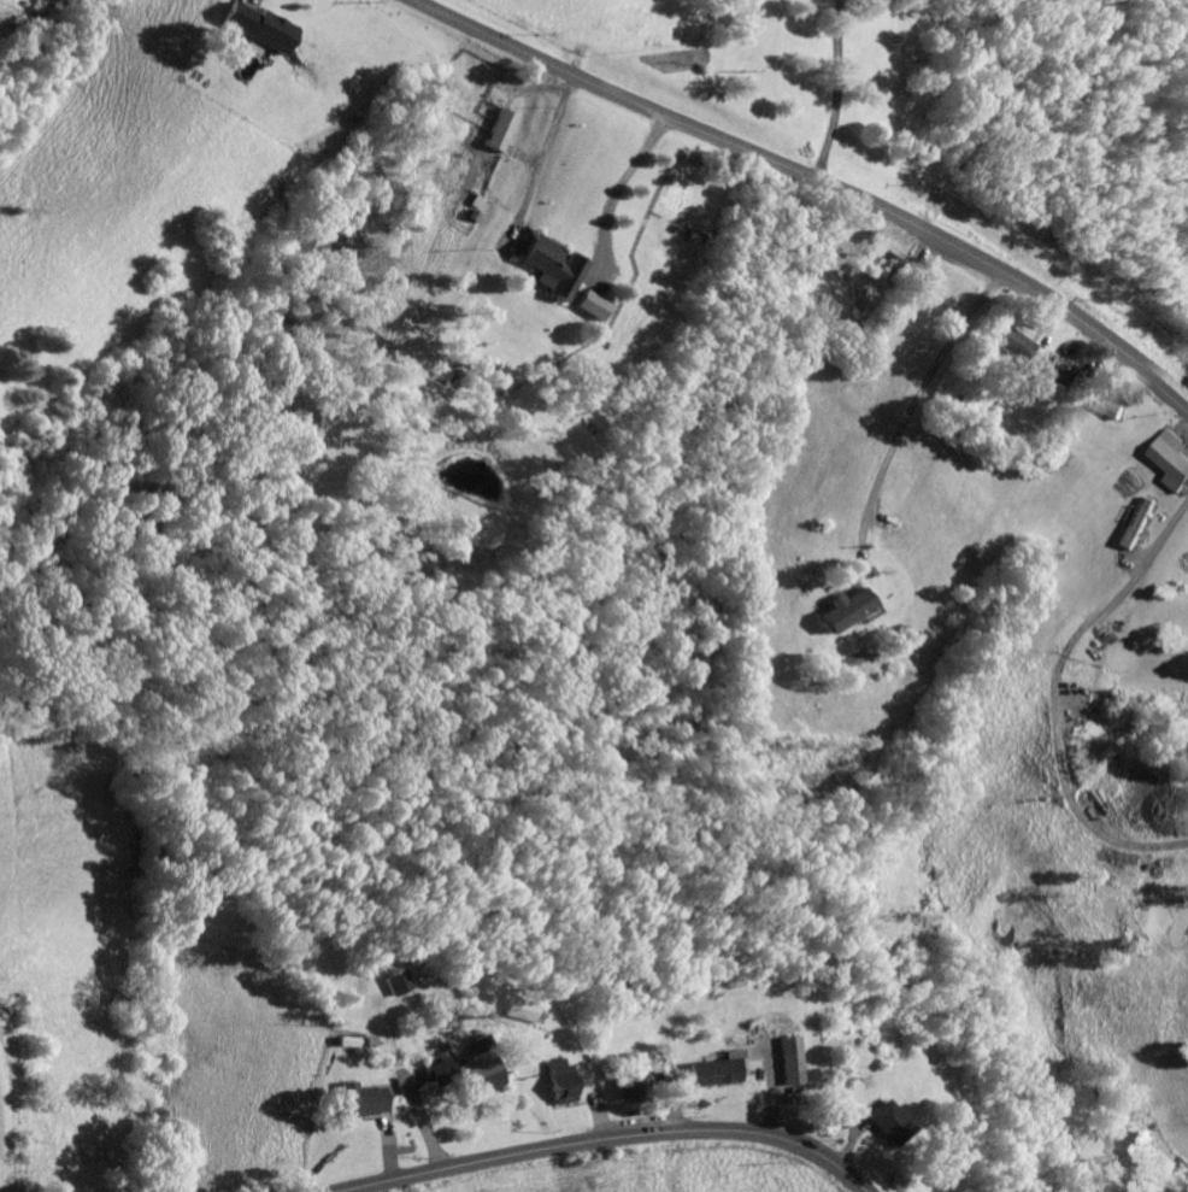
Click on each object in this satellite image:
building: (264, 25)
road: (831, 93)
building: (507, 128)
road: (543, 162)
road: (811, 183)
road: (617, 193)
building: (555, 266)
building: (593, 303)
building: (1014, 342)
building: (1059, 370)
building: (1111, 403)
building: (1172, 458)
building: (1136, 522)
building: (848, 607)
building: (398, 980)
building: (783, 1058)
building: (712, 1067)
building: (463, 1069)
building: (628, 1071)
building: (558, 1078)
building: (363, 1097)
building: (887, 1121)
road: (592, 1137)

